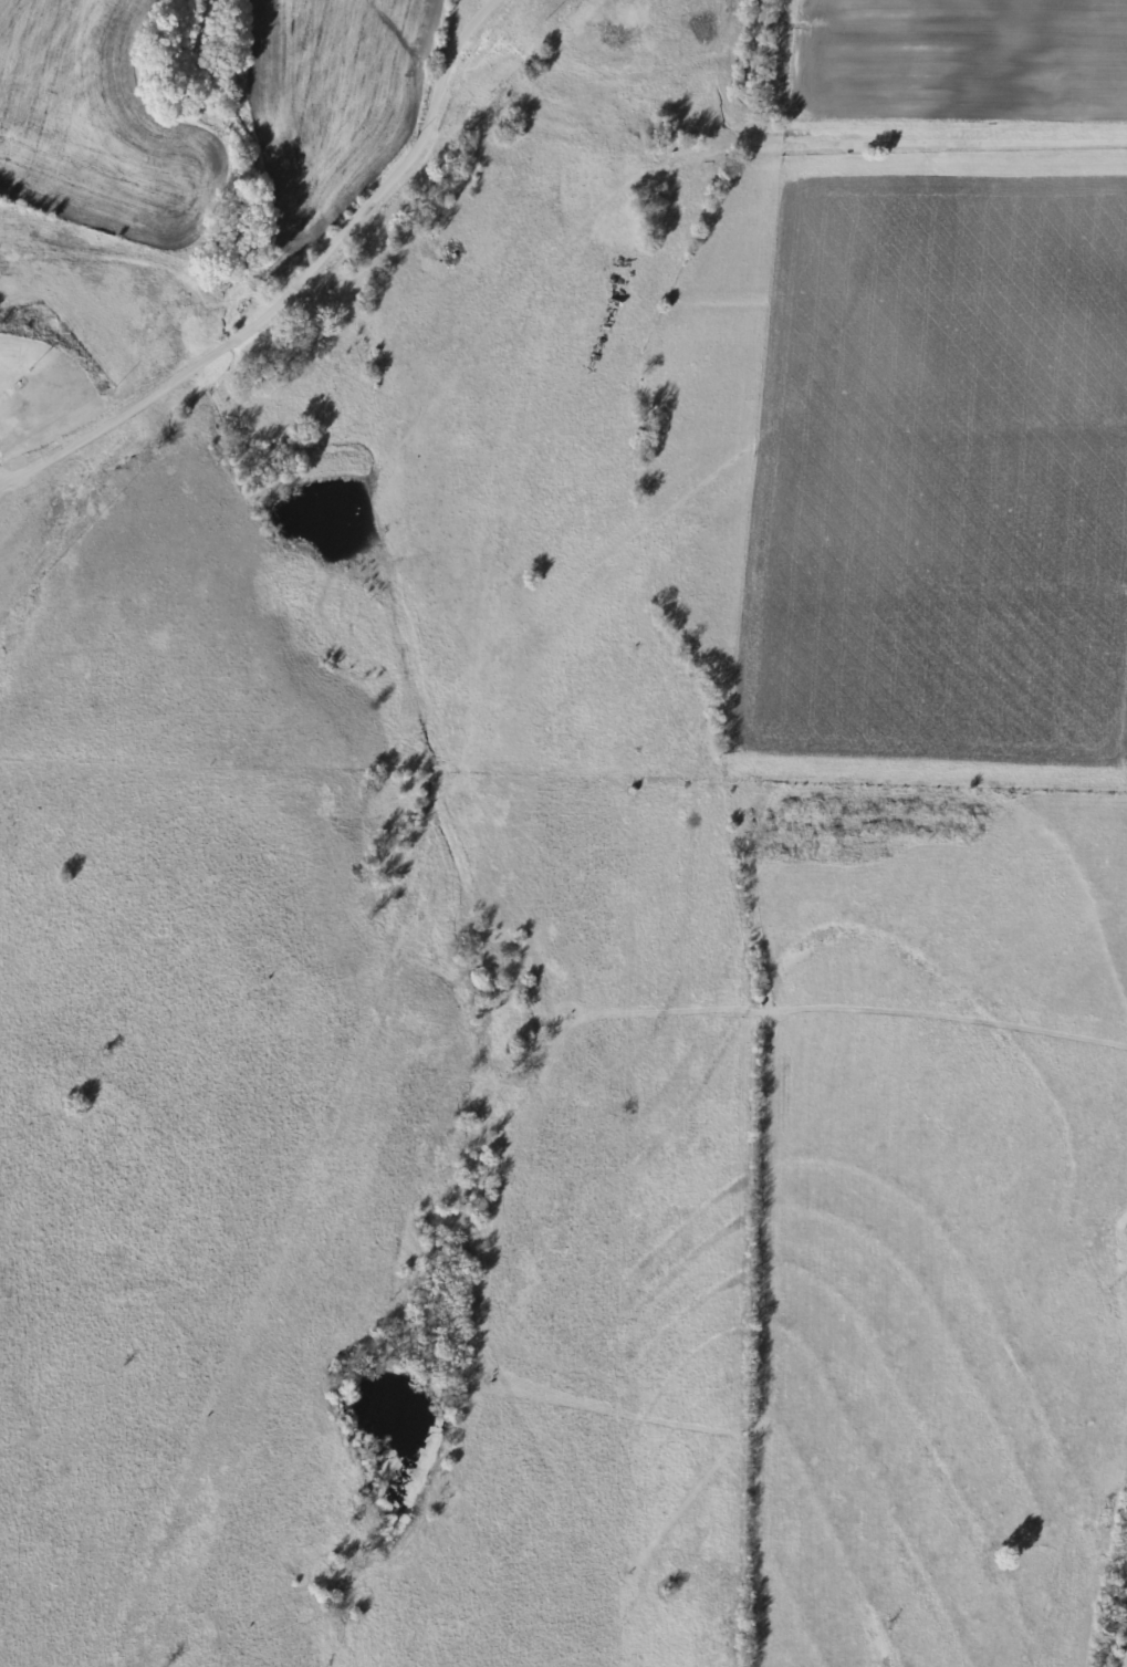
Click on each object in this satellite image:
road: (289, 289)

